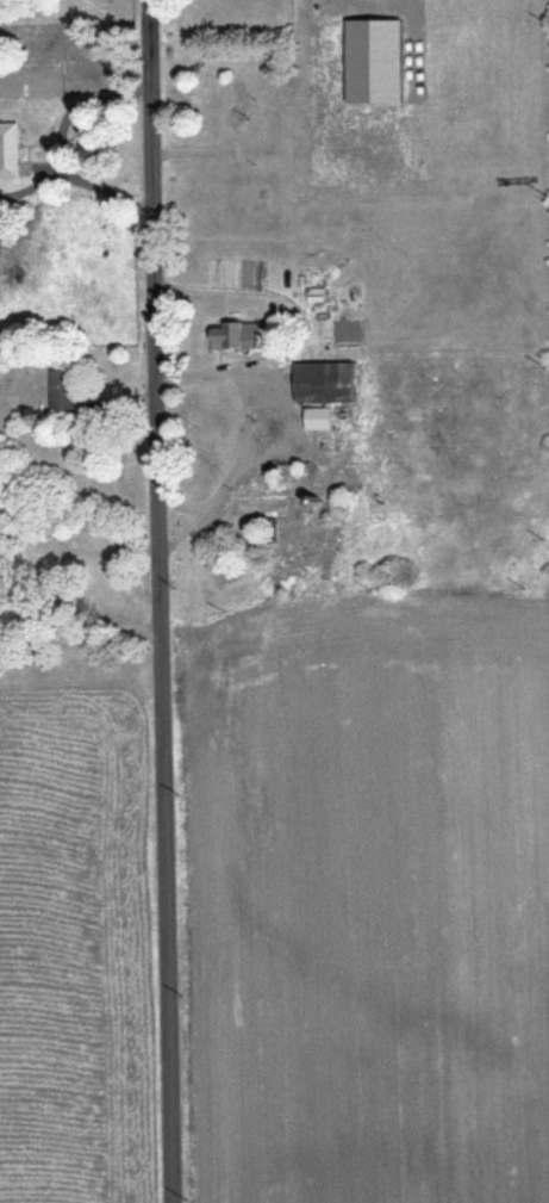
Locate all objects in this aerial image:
building: (380, 61)
building: (239, 104)
road: (62, 144)
building: (10, 148)
building: (241, 333)
building: (326, 379)
building: (63, 387)
building: (320, 416)
road: (248, 426)
building: (268, 502)
road: (162, 601)
road: (80, 632)

